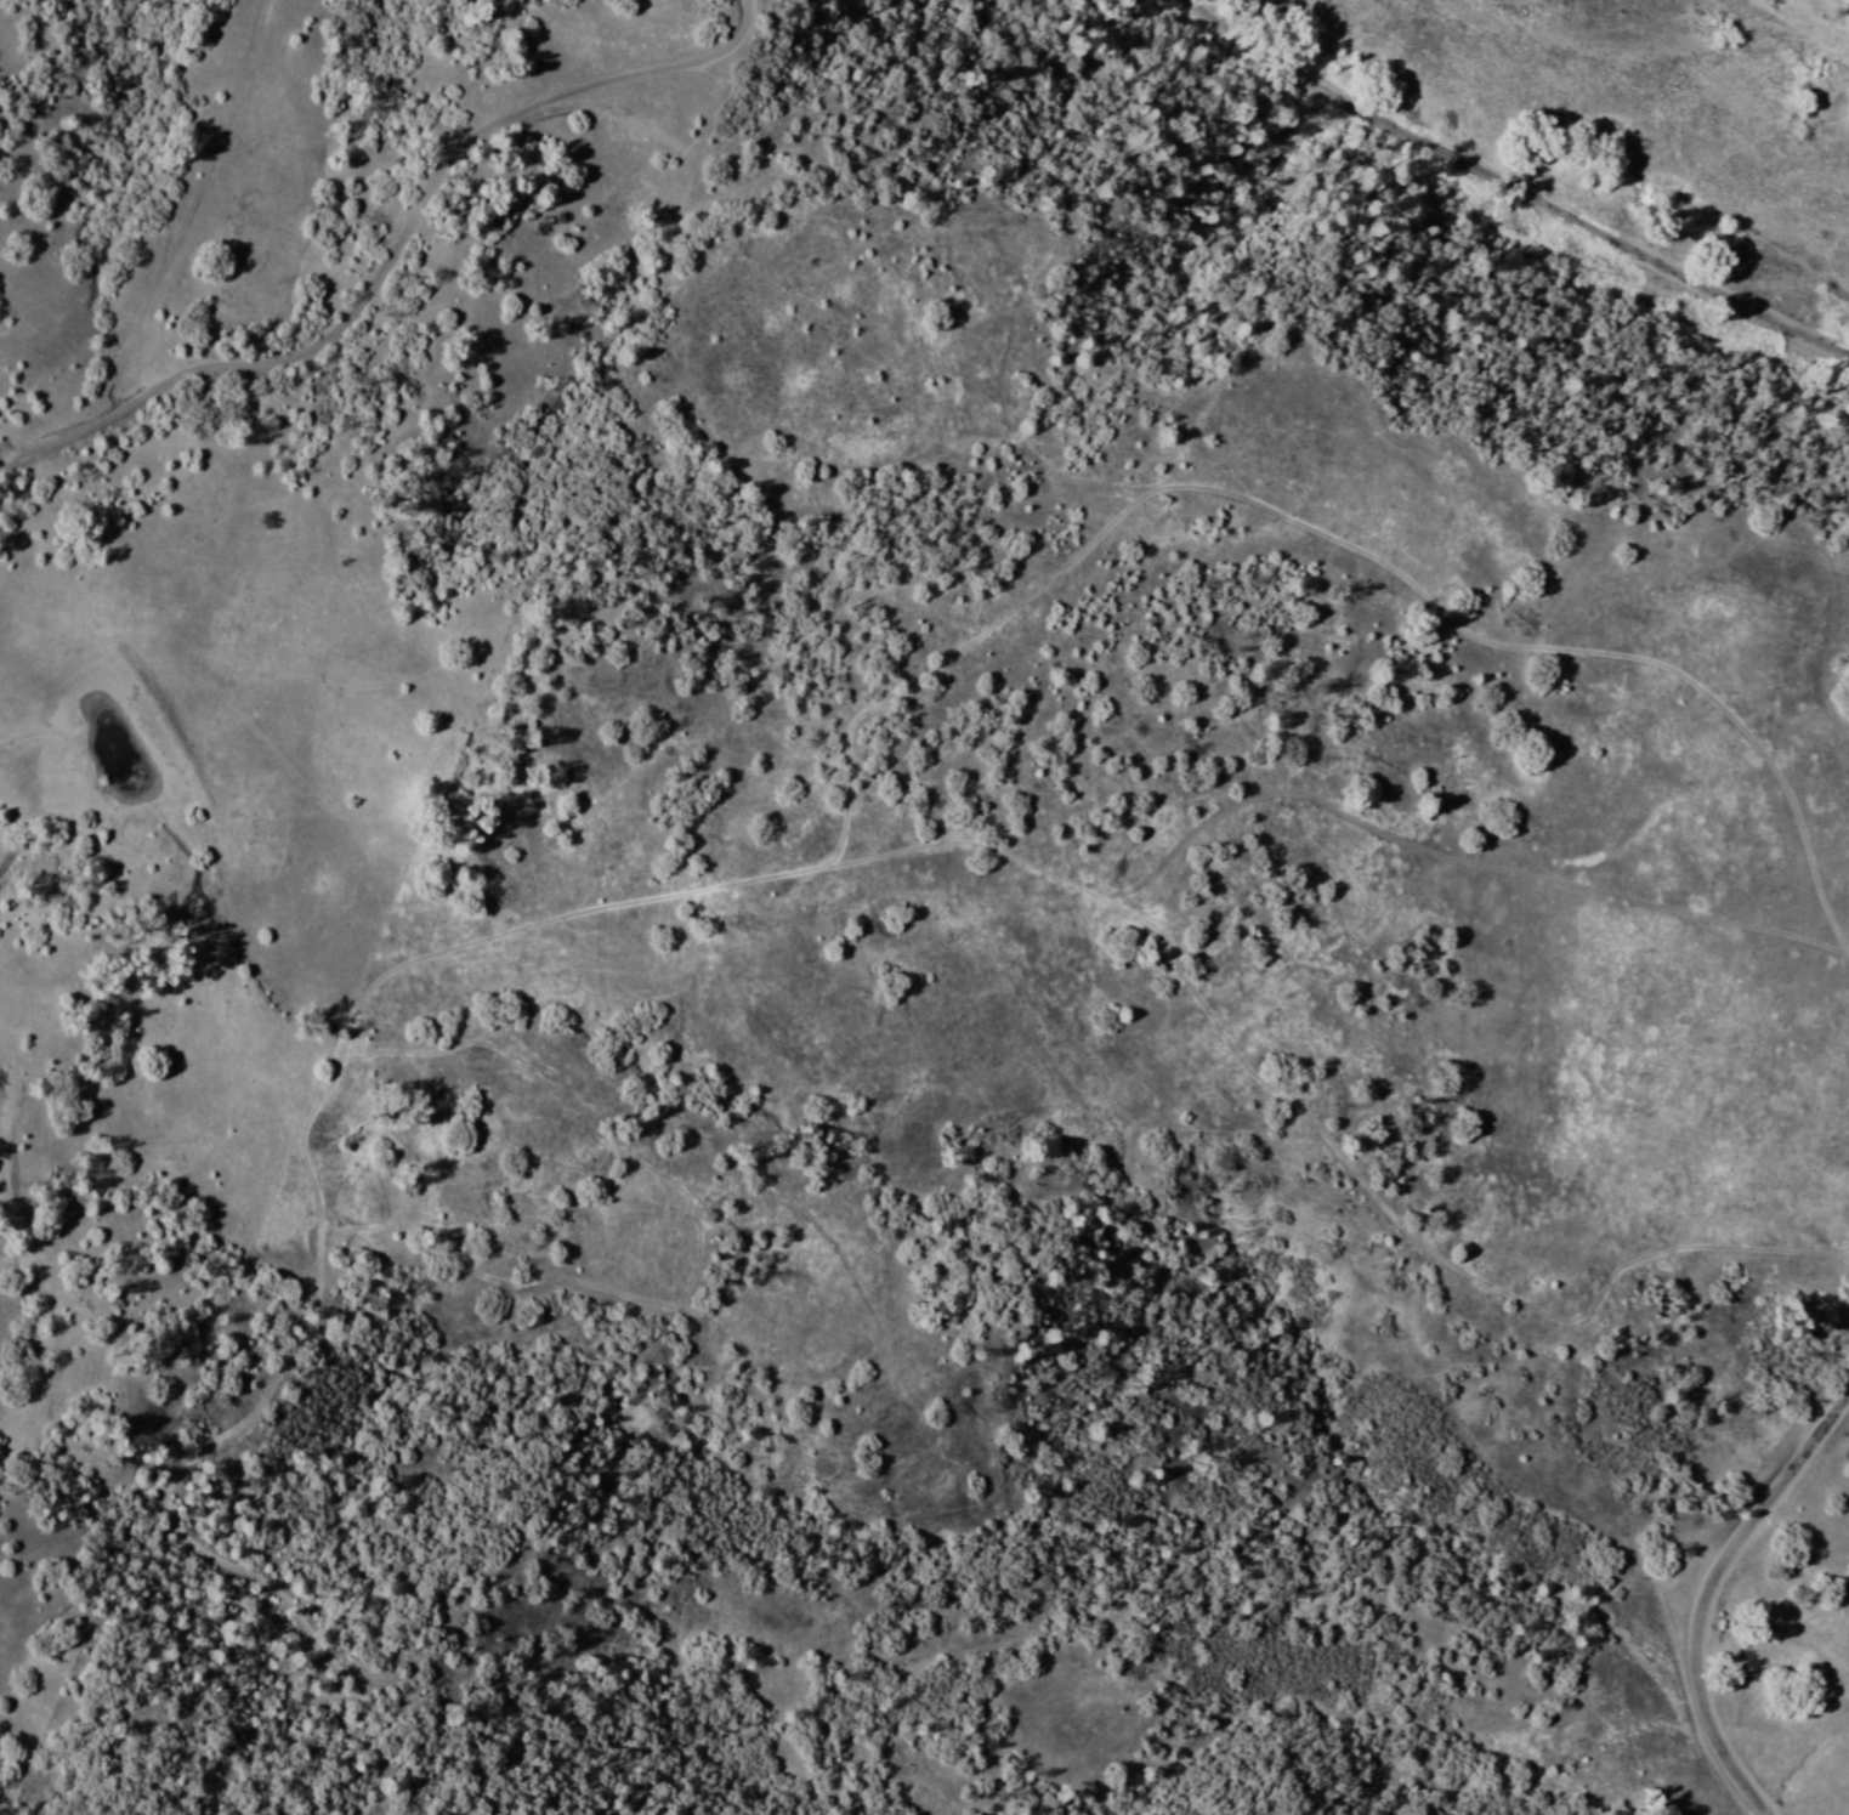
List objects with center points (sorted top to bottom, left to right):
road: (1508, 191)
road: (391, 260)
road: (1705, 1583)

